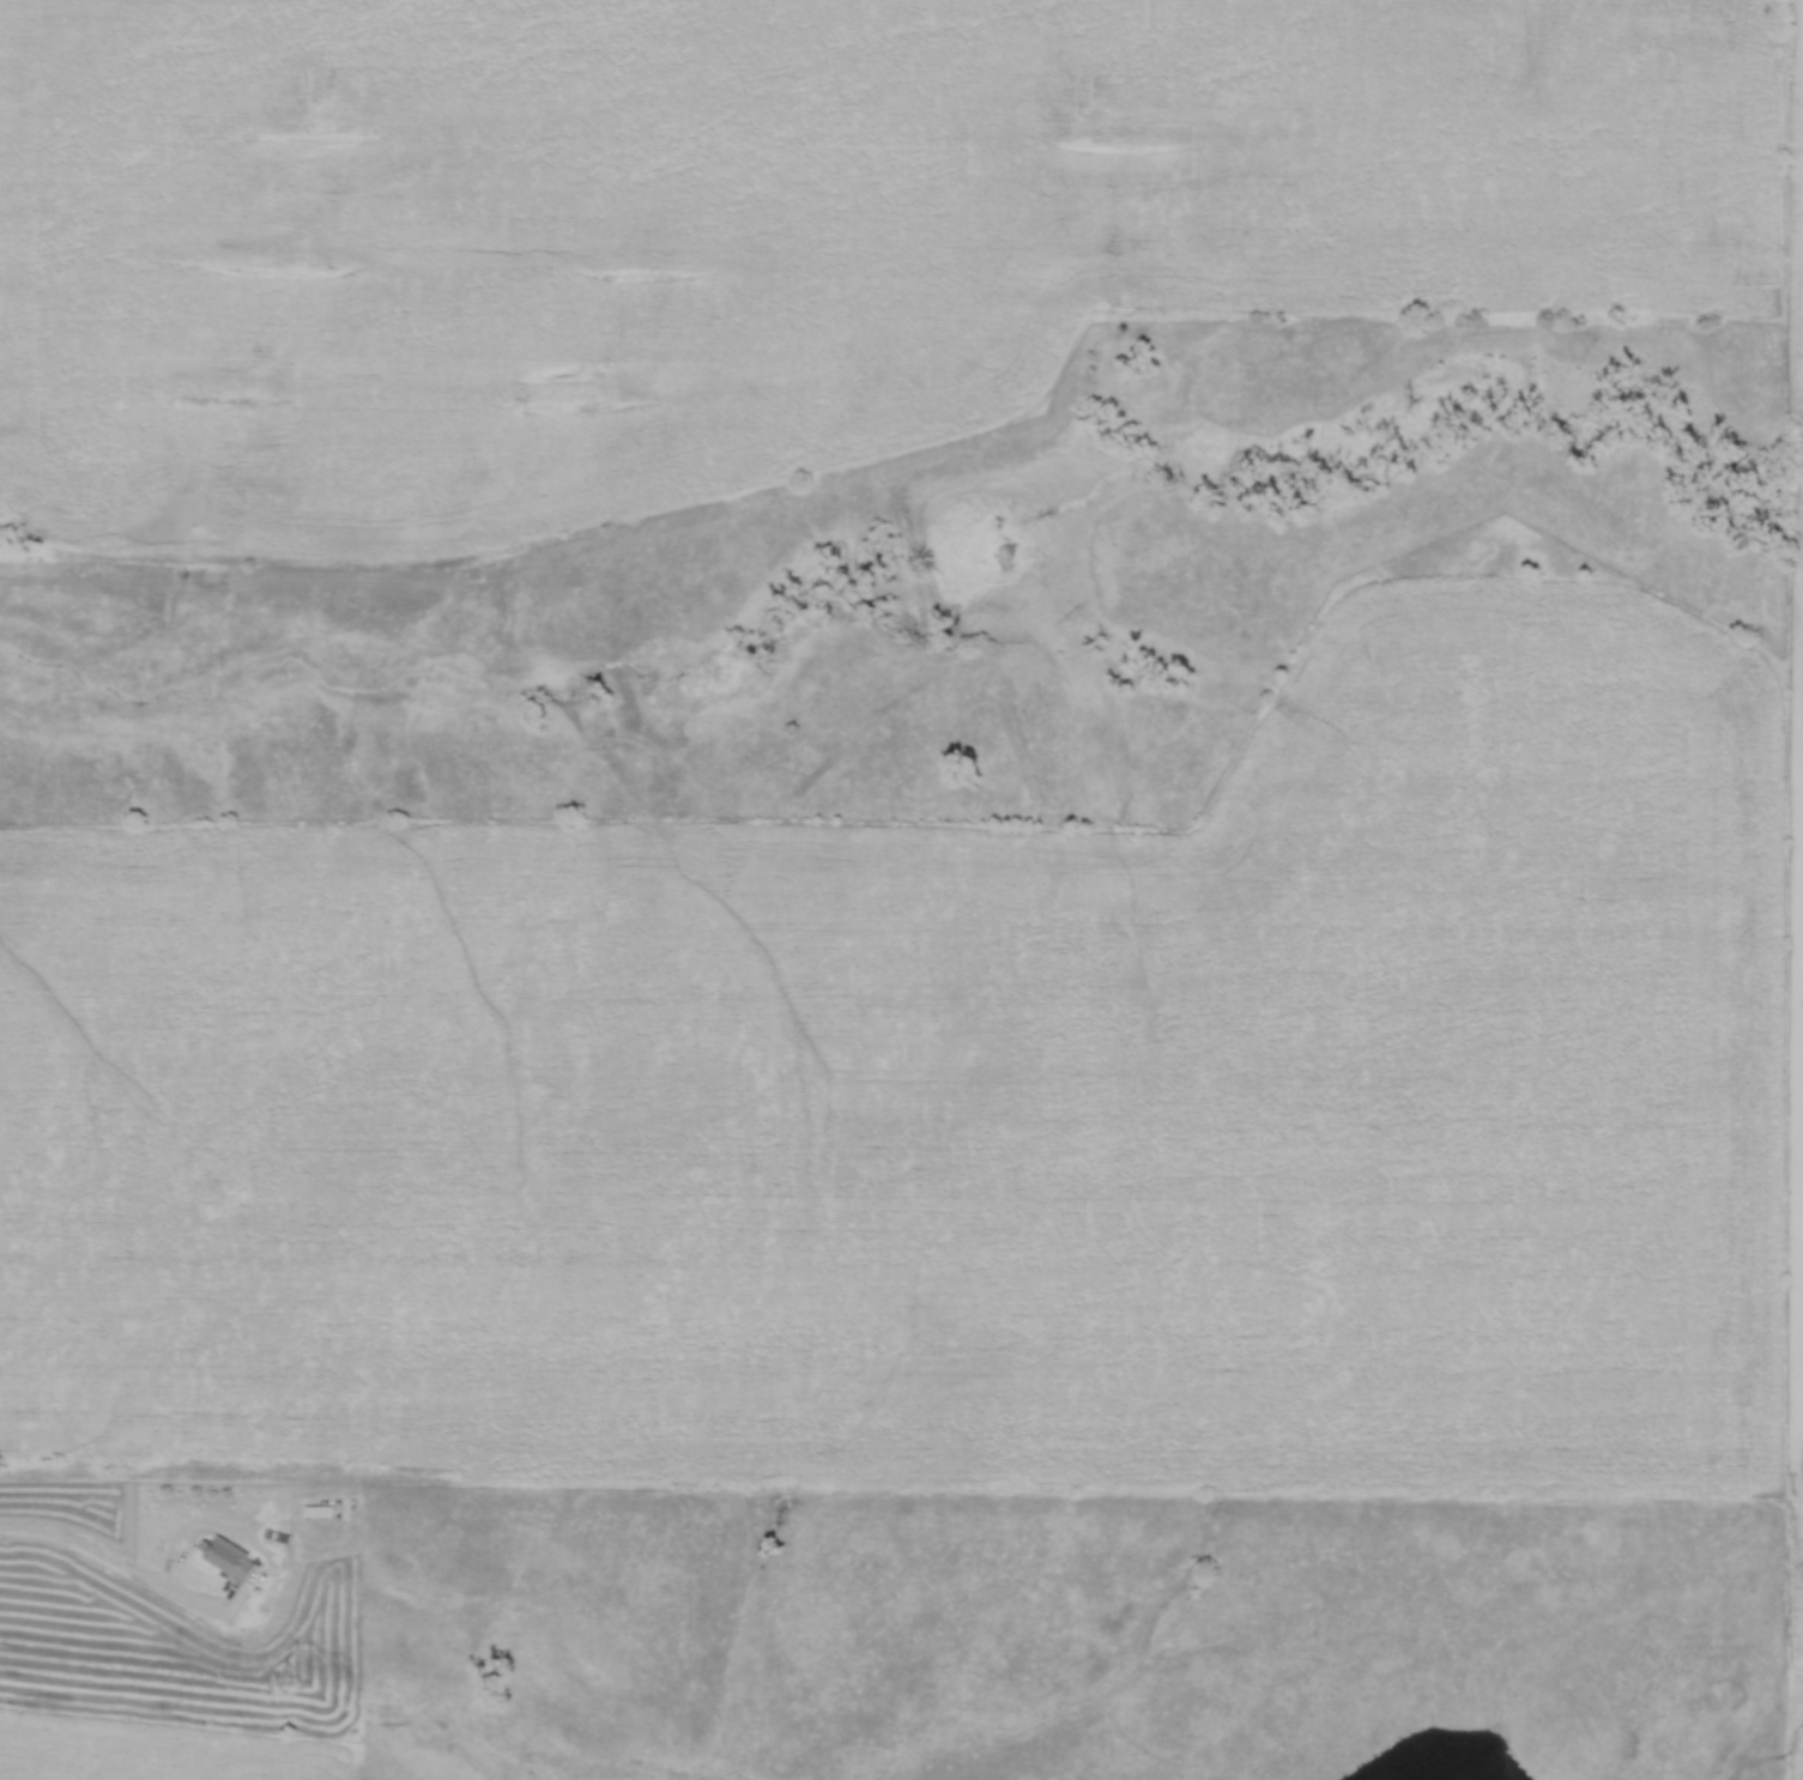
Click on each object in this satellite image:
building: (320, 1512)
building: (228, 1556)
road: (110, 1564)

